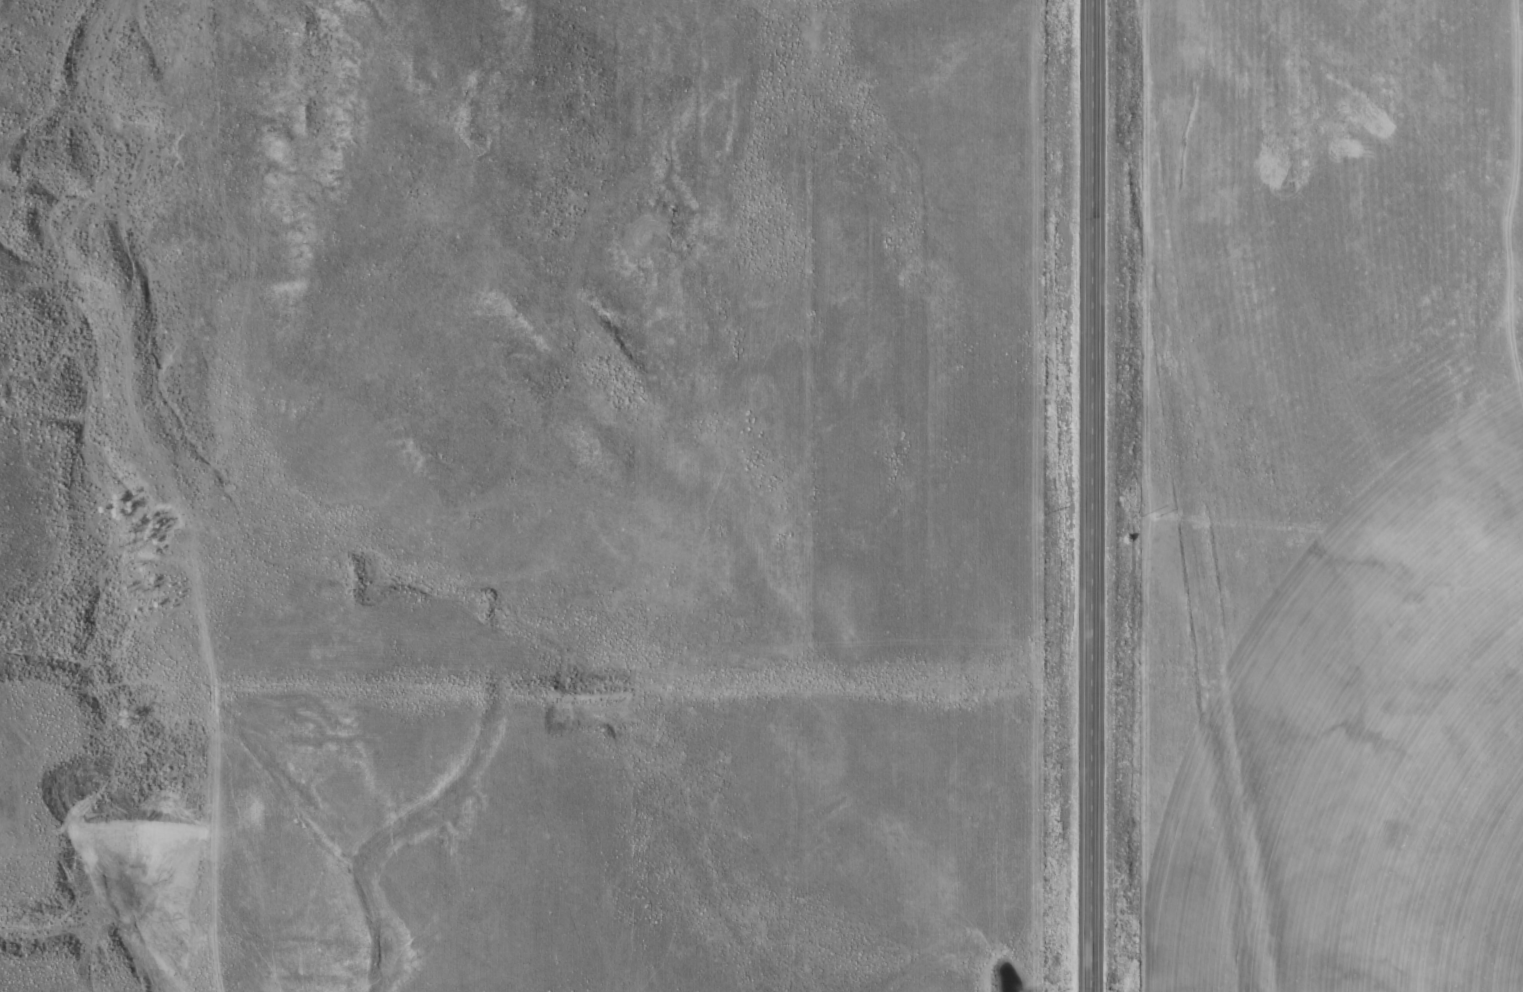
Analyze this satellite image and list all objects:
road: (1085, 496)

